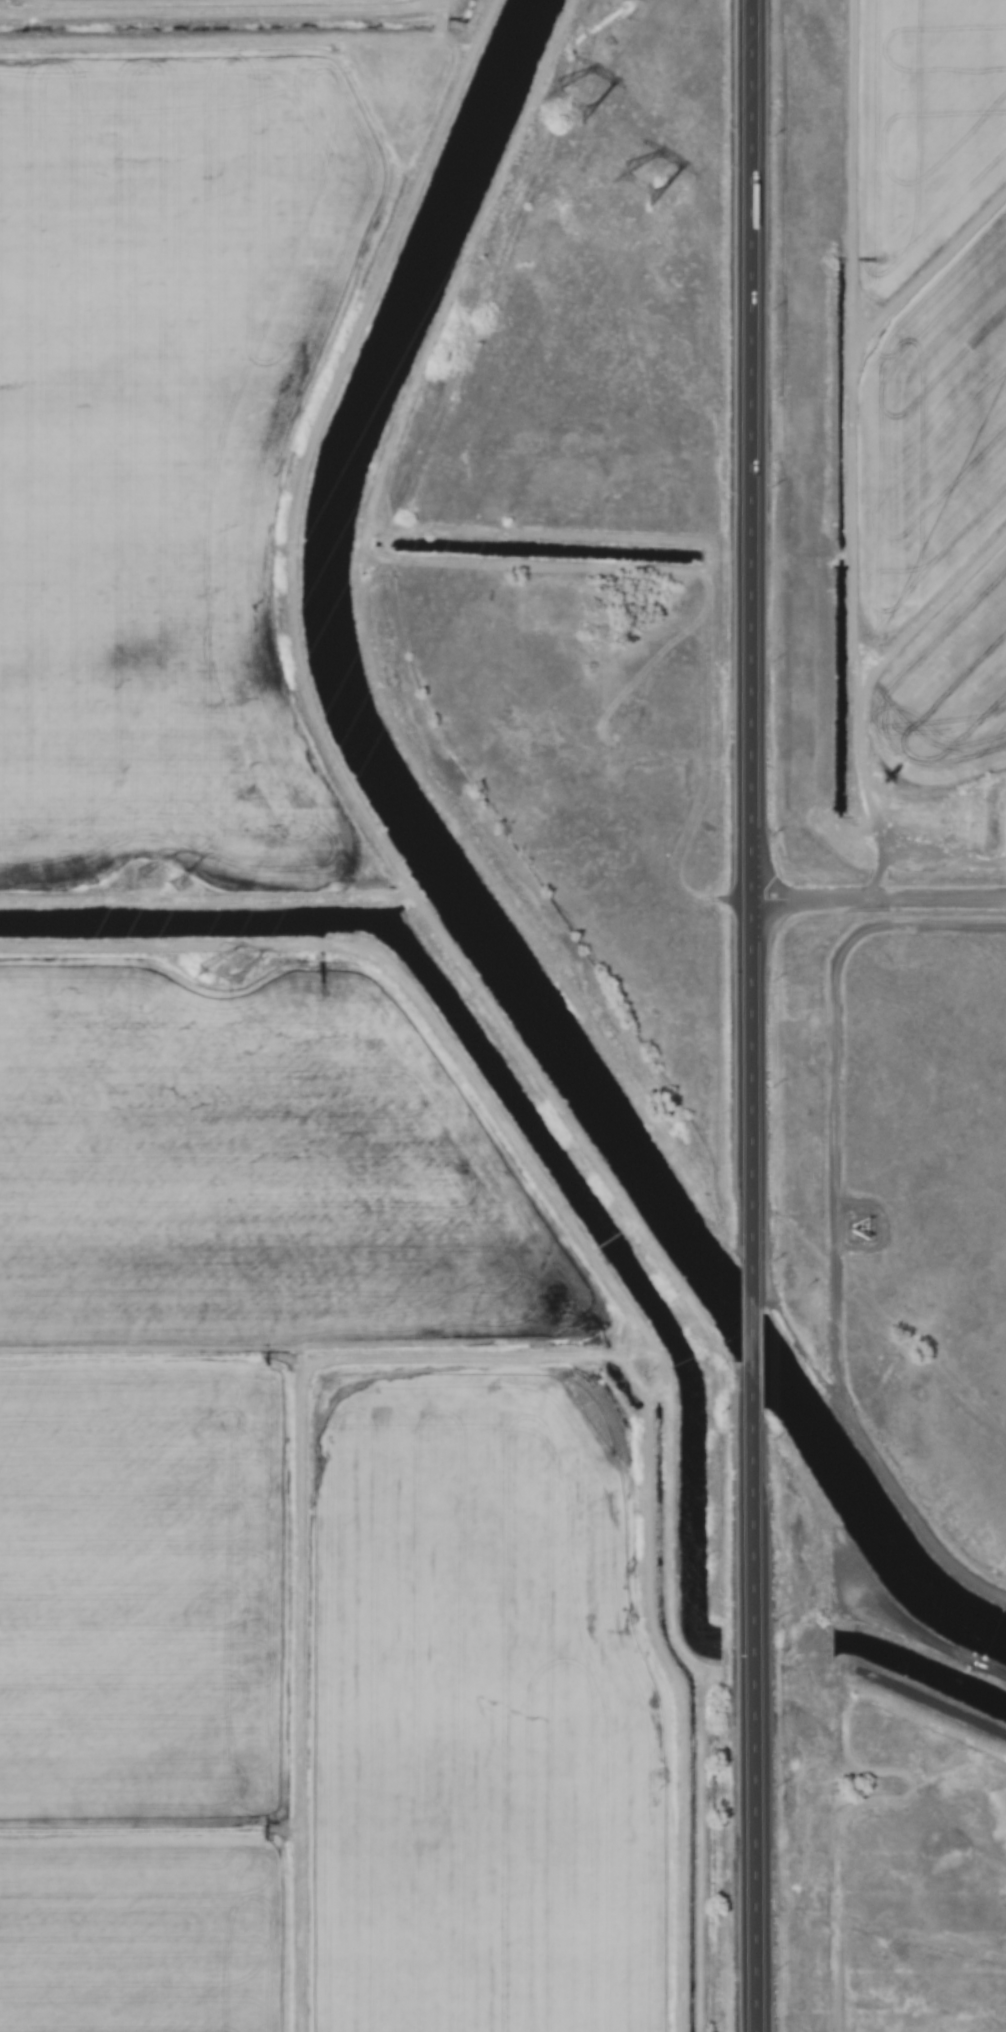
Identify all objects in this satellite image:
power tower: (578, 99)
power tower: (639, 189)
road: (749, 646)
power tower: (162, 872)
river: (456, 877)
power tower: (226, 976)
road: (749, 1338)
road: (750, 1708)

